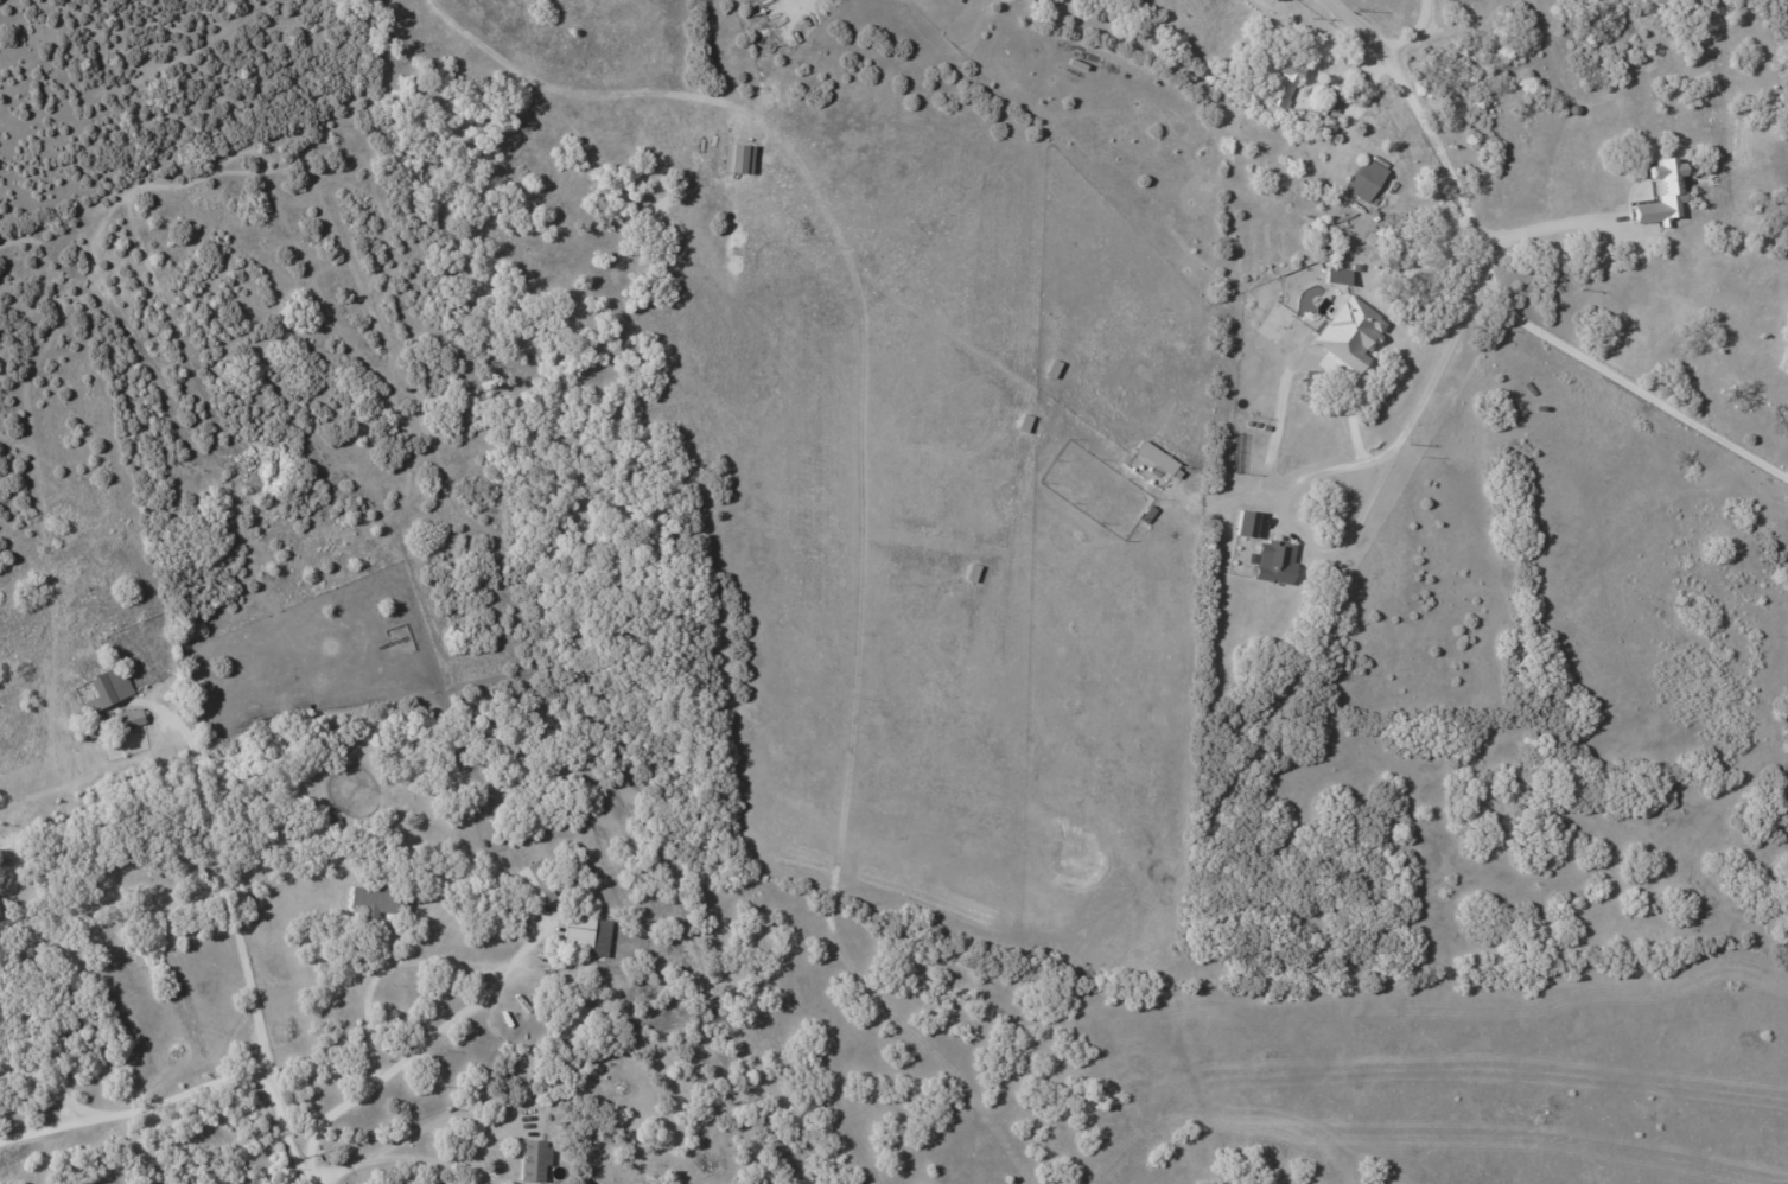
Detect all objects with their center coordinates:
road: (1351, 31)
road: (1407, 34)
building: (1280, 88)
road: (562, 91)
building: (1330, 102)
building: (737, 158)
building: (1364, 179)
building: (1661, 193)
road: (1552, 238)
road: (1527, 324)
building: (1348, 331)
road: (1277, 420)
building: (1157, 459)
road: (1334, 464)
road: (1221, 502)
building: (1245, 523)
building: (1272, 561)
building: (107, 688)
road: (225, 881)
building: (534, 884)
building: (374, 899)
building: (586, 934)
road: (402, 968)
road: (453, 1030)
road: (47, 1087)
road: (134, 1108)
road: (285, 1129)
road: (428, 1132)
building: (532, 1158)

